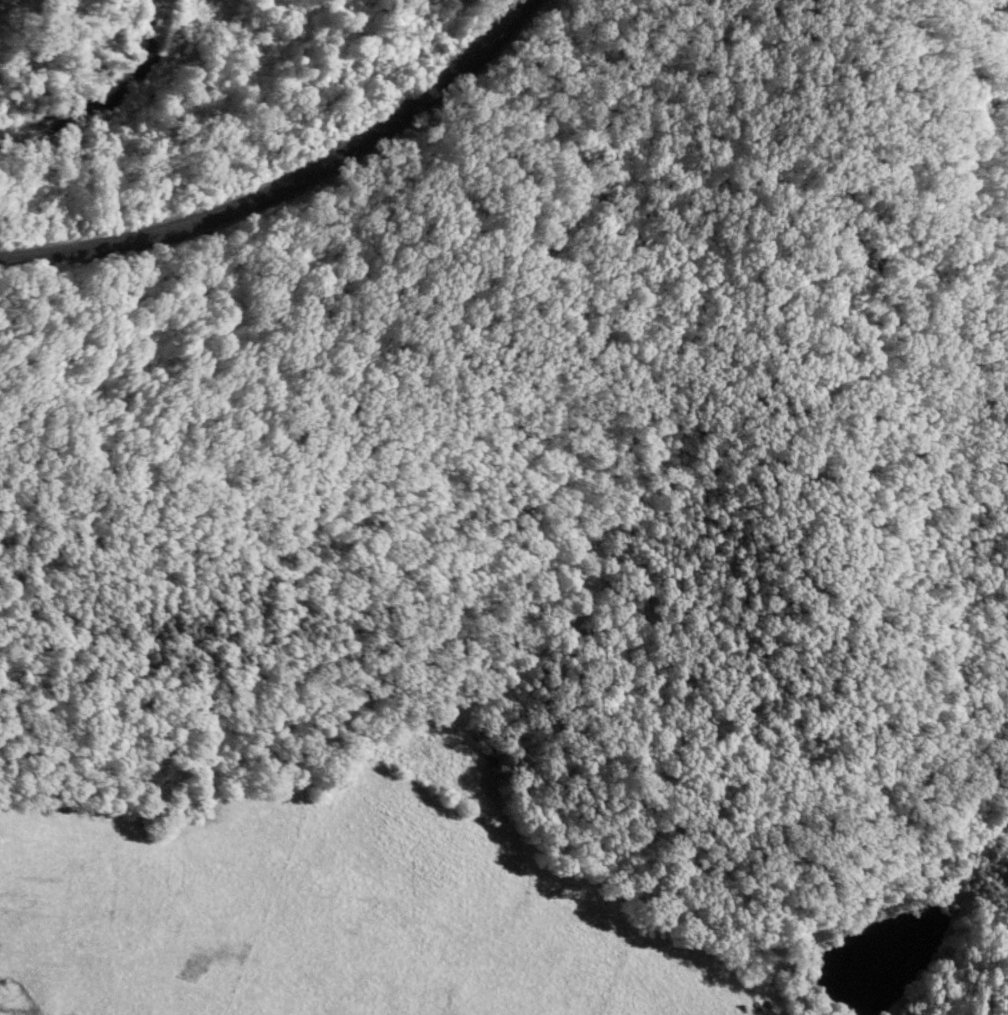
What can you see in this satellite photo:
railway: (293, 187)

